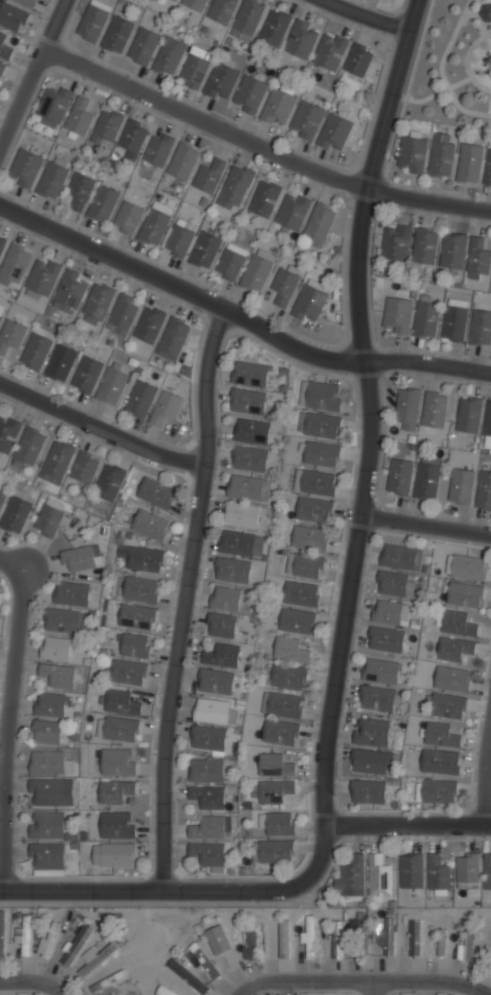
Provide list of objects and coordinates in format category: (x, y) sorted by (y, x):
building: (177, 0)
building: (161, 1)
building: (172, 1)
building: (25, 3)
building: (195, 4)
building: (221, 10)
building: (486, 12)
road: (365, 15)
building: (12, 17)
building: (94, 19)
building: (248, 20)
building: (275, 28)
building: (117, 34)
building: (301, 40)
building: (143, 46)
building: (4, 48)
building: (331, 50)
building: (169, 57)
building: (359, 59)
park: (453, 65)
building: (1, 68)
building: (195, 71)
road: (34, 75)
building: (221, 82)
building: (250, 96)
building: (54, 105)
building: (278, 108)
building: (79, 117)
building: (306, 121)
building: (107, 127)
building: (335, 133)
building: (133, 137)
road: (263, 147)
building: (158, 149)
building: (412, 154)
building: (441, 159)
building: (183, 160)
building: (469, 163)
building: (25, 168)
building: (488, 169)
building: (208, 176)
building: (52, 180)
building: (235, 188)
building: (80, 191)
building: (264, 198)
building: (103, 204)
building: (293, 211)
building: (128, 218)
building: (320, 223)
building: (154, 226)
building: (179, 241)
building: (396, 243)
building: (2, 245)
building: (425, 246)
building: (205, 250)
building: (453, 251)
building: (478, 258)
building: (231, 262)
building: (14, 264)
building: (257, 269)
building: (43, 277)
building: (285, 283)
building: (69, 292)
building: (309, 303)
building: (98, 304)
building: (2, 313)
building: (397, 315)
building: (427, 315)
building: (122, 316)
road: (238, 317)
building: (455, 319)
building: (149, 326)
building: (481, 327)
building: (11, 337)
building: (173, 339)
building: (36, 352)
building: (61, 364)
building: (86, 375)
building: (250, 375)
building: (112, 385)
building: (324, 396)
building: (141, 400)
building: (248, 402)
building: (165, 408)
building: (407, 408)
building: (435, 409)
road: (369, 410)
building: (469, 415)
building: (488, 419)
building: (320, 425)
road: (100, 429)
building: (252, 432)
building: (7, 435)
building: (29, 448)
building: (321, 454)
building: (250, 459)
building: (57, 463)
building: (84, 469)
building: (400, 476)
building: (427, 477)
building: (315, 481)
building: (109, 483)
building: (461, 486)
building: (248, 488)
building: (484, 489)
building: (156, 493)
building: (2, 497)
building: (315, 509)
building: (15, 515)
building: (242, 515)
building: (48, 520)
road: (425, 522)
building: (150, 526)
building: (310, 536)
building: (241, 544)
building: (81, 557)
building: (402, 557)
building: (142, 558)
road: (12, 563)
building: (305, 564)
building: (467, 567)
building: (233, 570)
building: (395, 584)
building: (140, 589)
building: (0, 592)
building: (72, 593)
building: (301, 593)
building: (465, 595)
road: (188, 596)
building: (229, 598)
building: (390, 611)
building: (137, 616)
building: (66, 620)
building: (297, 620)
building: (456, 623)
building: (221, 625)
building: (386, 639)
building: (135, 645)
building: (56, 647)
building: (454, 649)
building: (290, 650)
building: (221, 655)
building: (126, 671)
building: (382, 671)
building: (60, 675)
building: (288, 676)
building: (452, 678)
building: (216, 681)
building: (380, 699)
building: (121, 701)
building: (50, 704)
building: (283, 705)
building: (448, 706)
building: (214, 711)
building: (118, 728)
road: (7, 729)
building: (46, 732)
building: (280, 732)
building: (372, 732)
building: (441, 735)
building: (209, 738)
building: (440, 761)
building: (118, 762)
building: (369, 762)
building: (50, 763)
building: (275, 766)
building: (206, 771)
road: (485, 777)
building: (115, 791)
building: (273, 791)
building: (436, 791)
building: (368, 792)
building: (46, 793)
building: (208, 797)
building: (280, 824)
building: (117, 825)
road: (408, 825)
building: (46, 826)
building: (209, 828)
building: (274, 851)
building: (208, 853)
building: (117, 855)
building: (46, 857)
building: (468, 867)
building: (487, 870)
building: (412, 871)
building: (353, 873)
building: (438, 873)
building: (379, 877)
road: (183, 887)
building: (357, 923)
building: (2, 934)
building: (25, 934)
building: (389, 937)
building: (285, 938)
building: (414, 938)
building: (311, 939)
building: (338, 939)
building: (442, 941)
building: (48, 942)
building: (76, 944)
building: (222, 944)
building: (251, 944)
building: (466, 946)
building: (98, 959)
building: (204, 960)
building: (188, 976)
building: (107, 979)
road: (31, 983)
road: (362, 984)
road: (373, 990)
building: (166, 991)
building: (127, 993)

